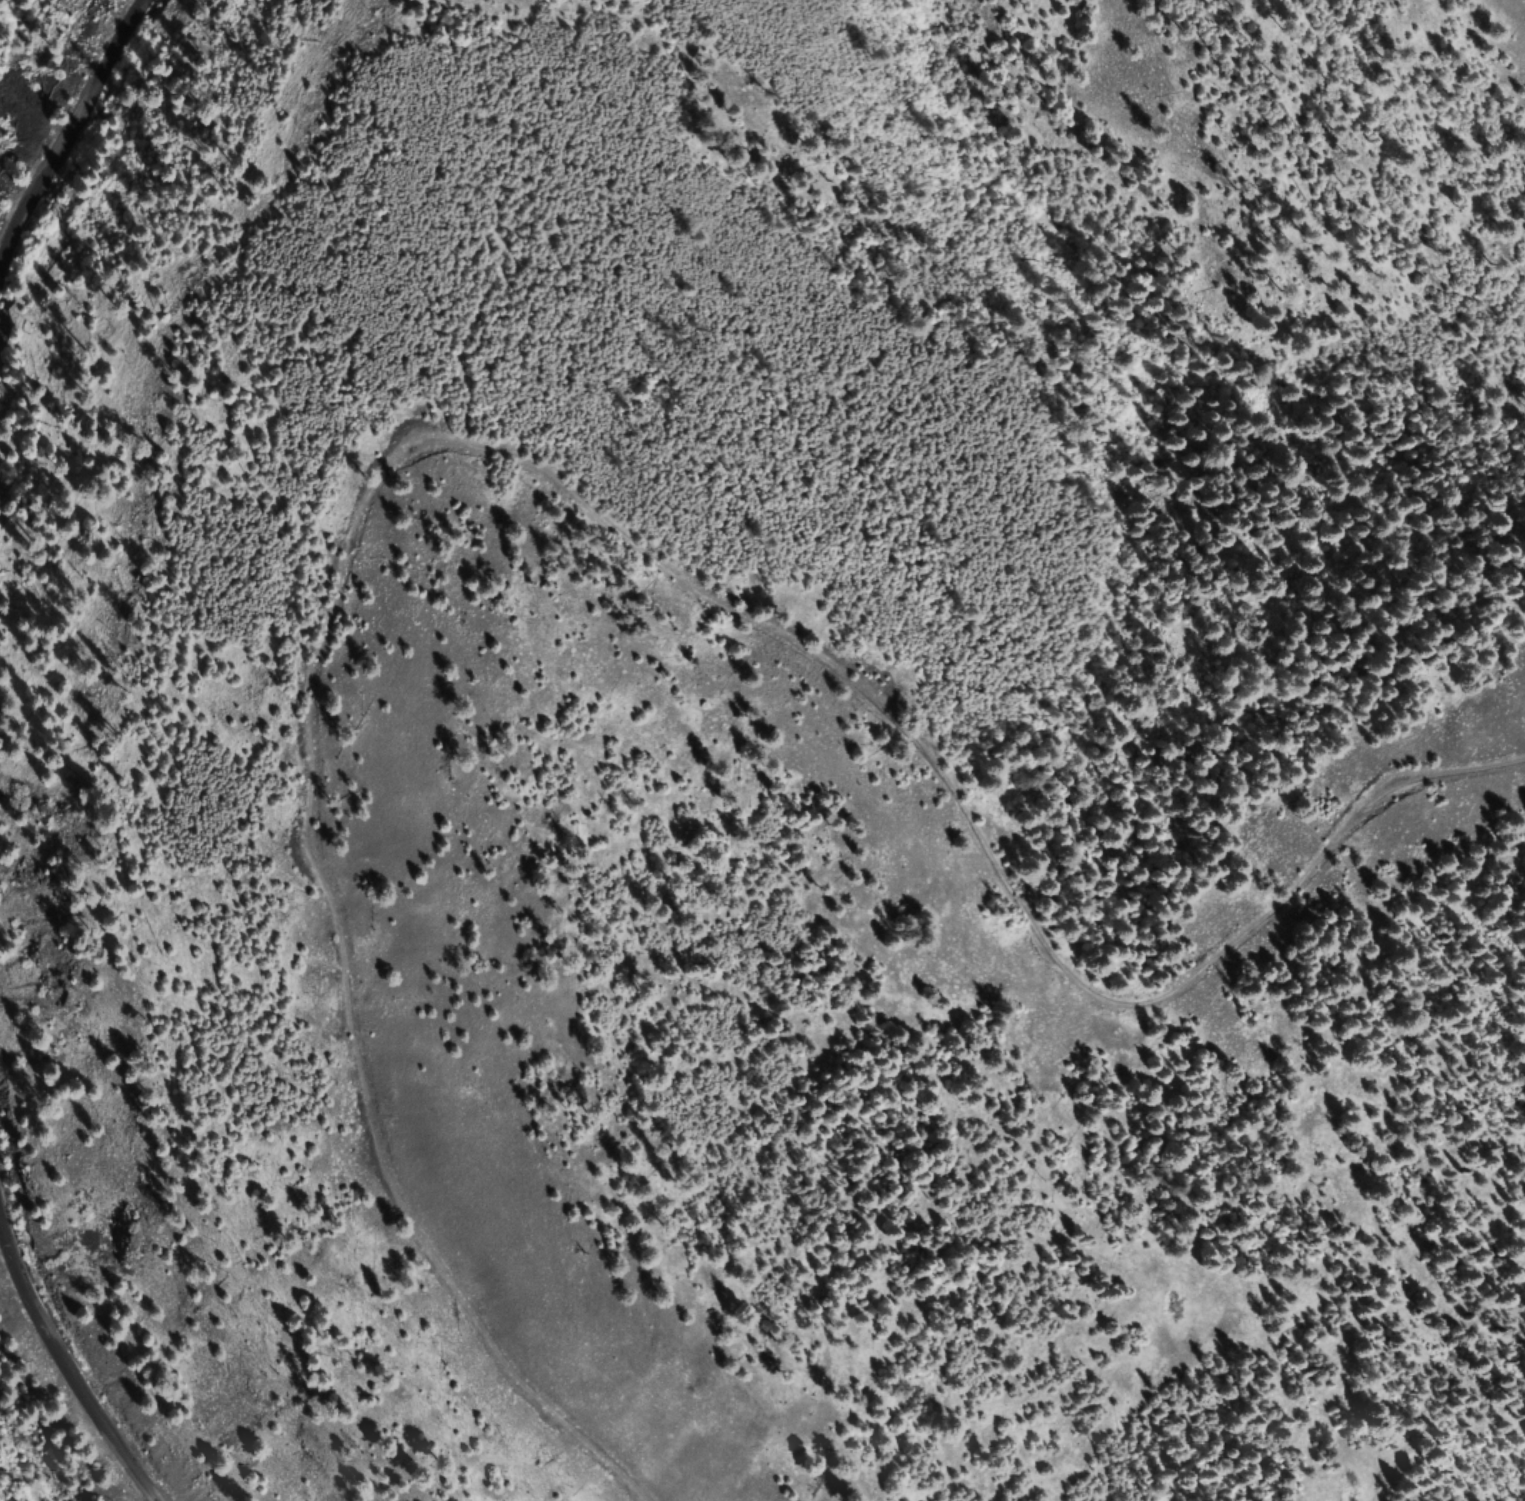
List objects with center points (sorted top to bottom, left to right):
road: (36, 67)
road: (554, 518)
road: (78, 1364)

